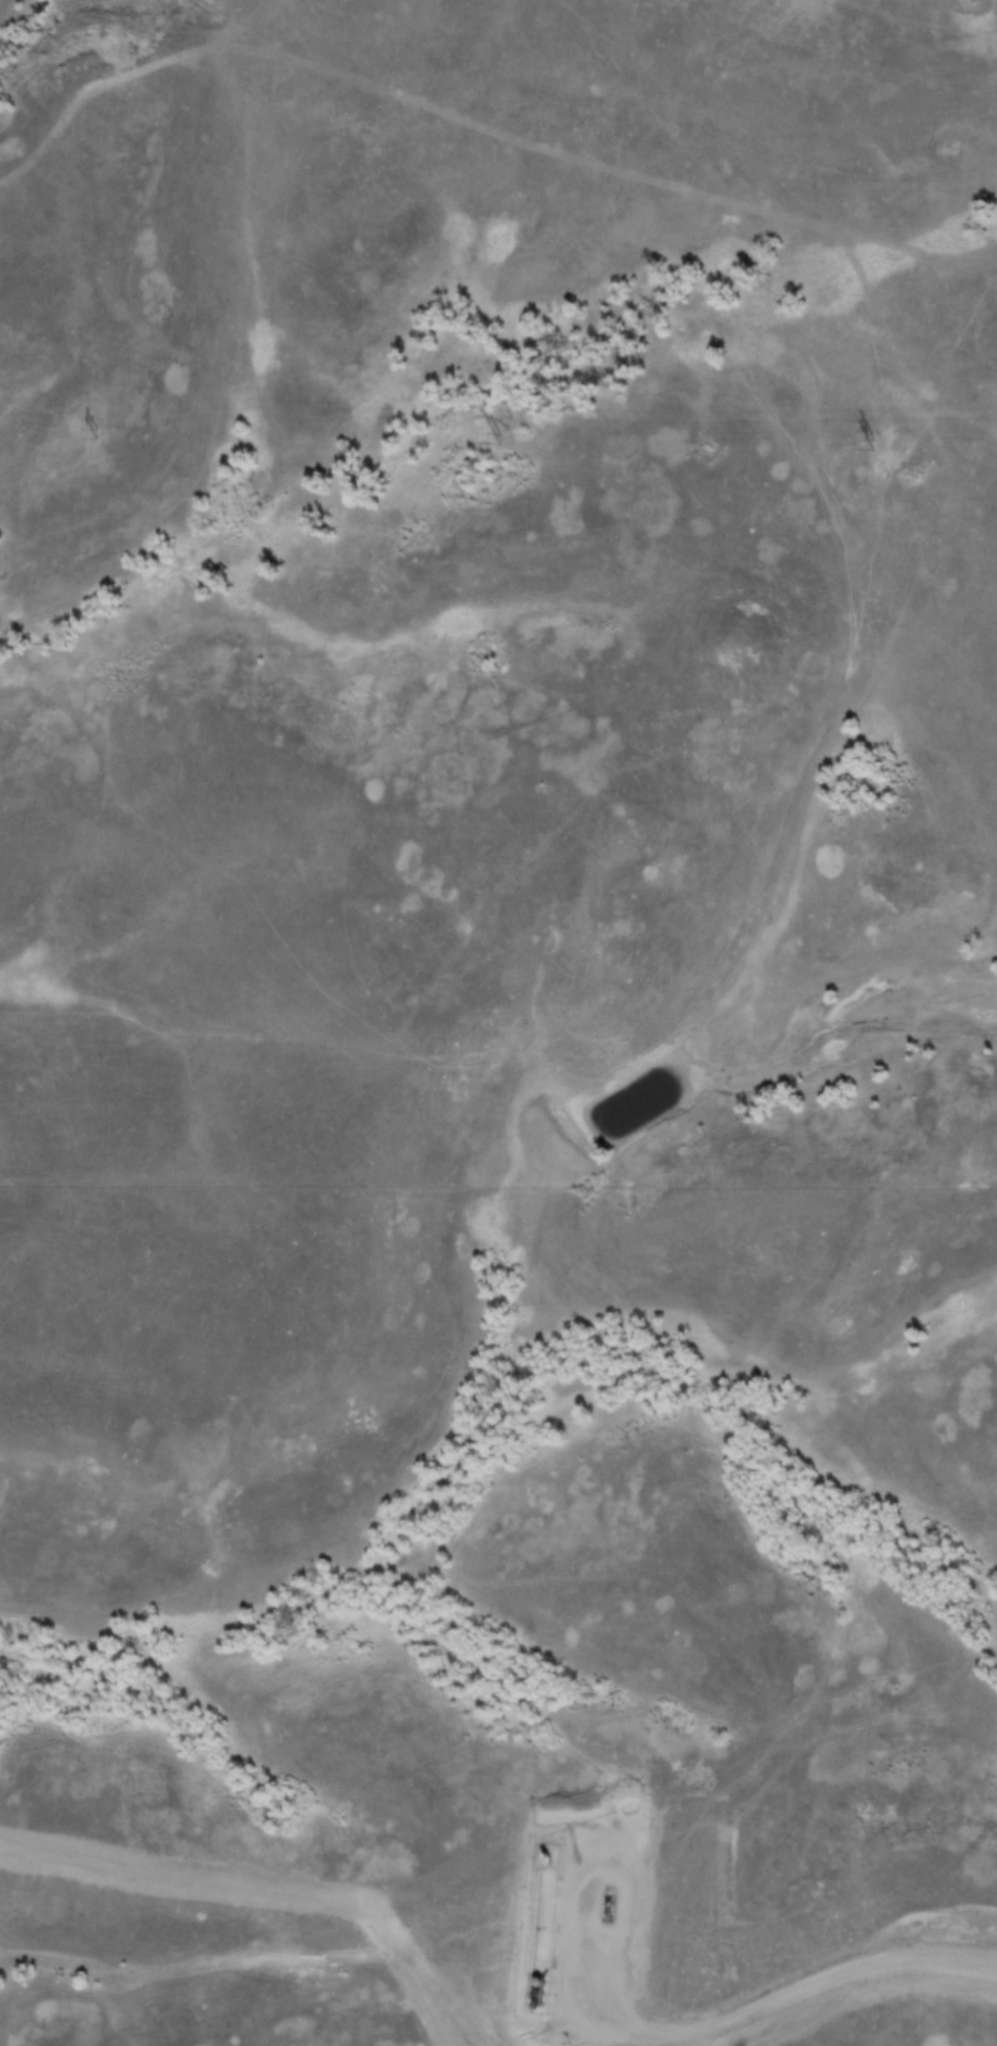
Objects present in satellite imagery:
power tower: (105, 433)
power tower: (499, 438)
power tower: (876, 444)
road: (749, 2017)

